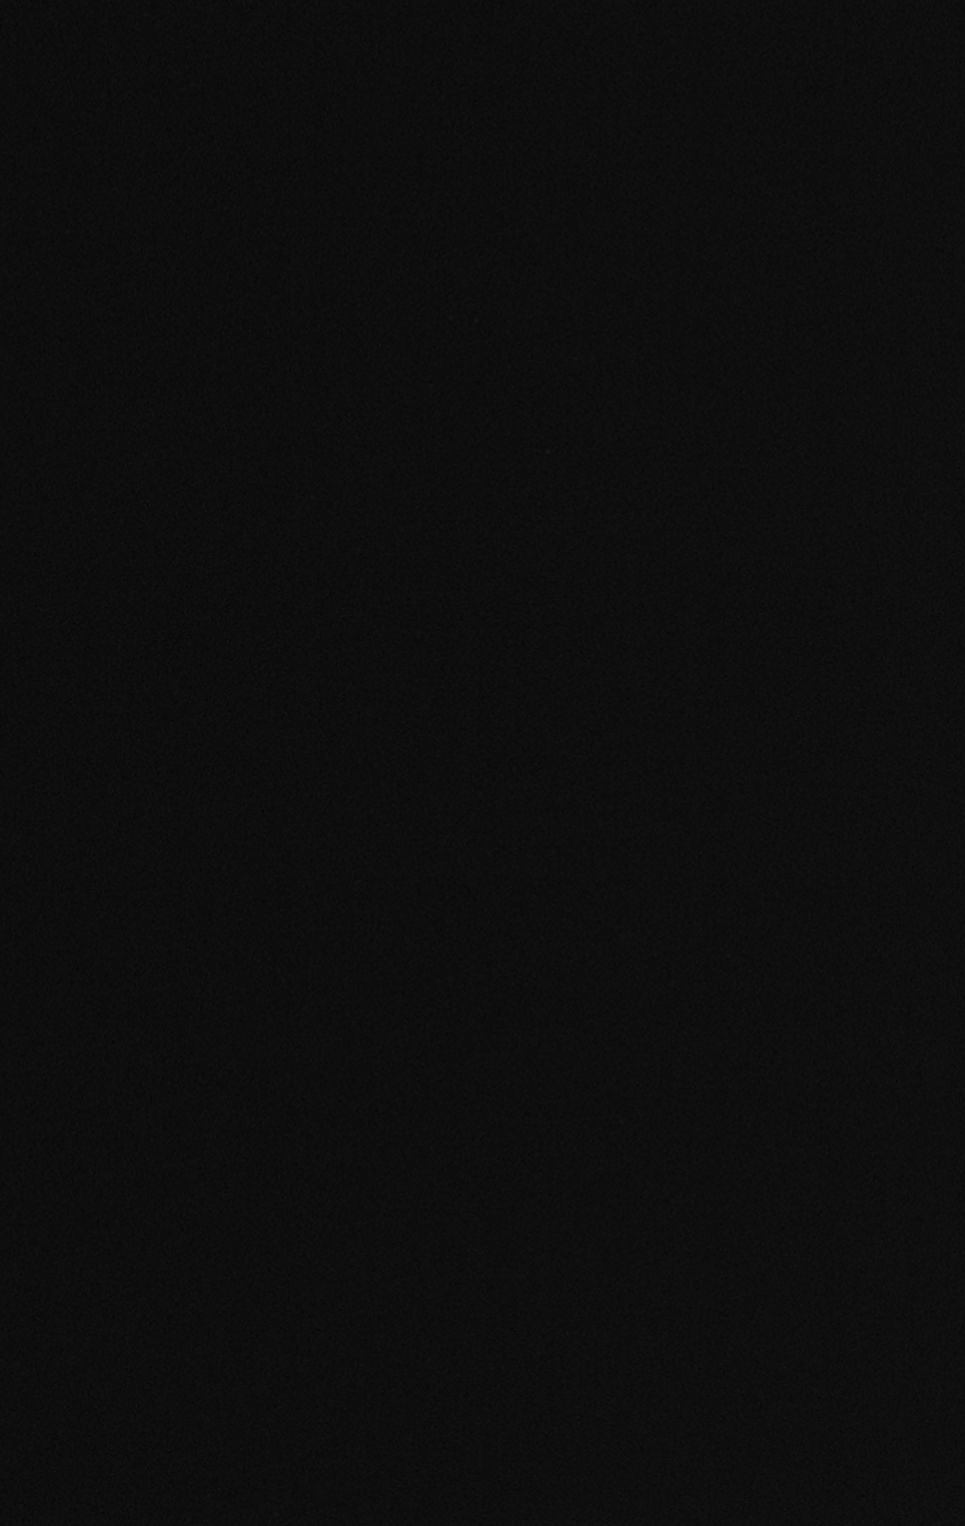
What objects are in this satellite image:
river: (402, 615)

